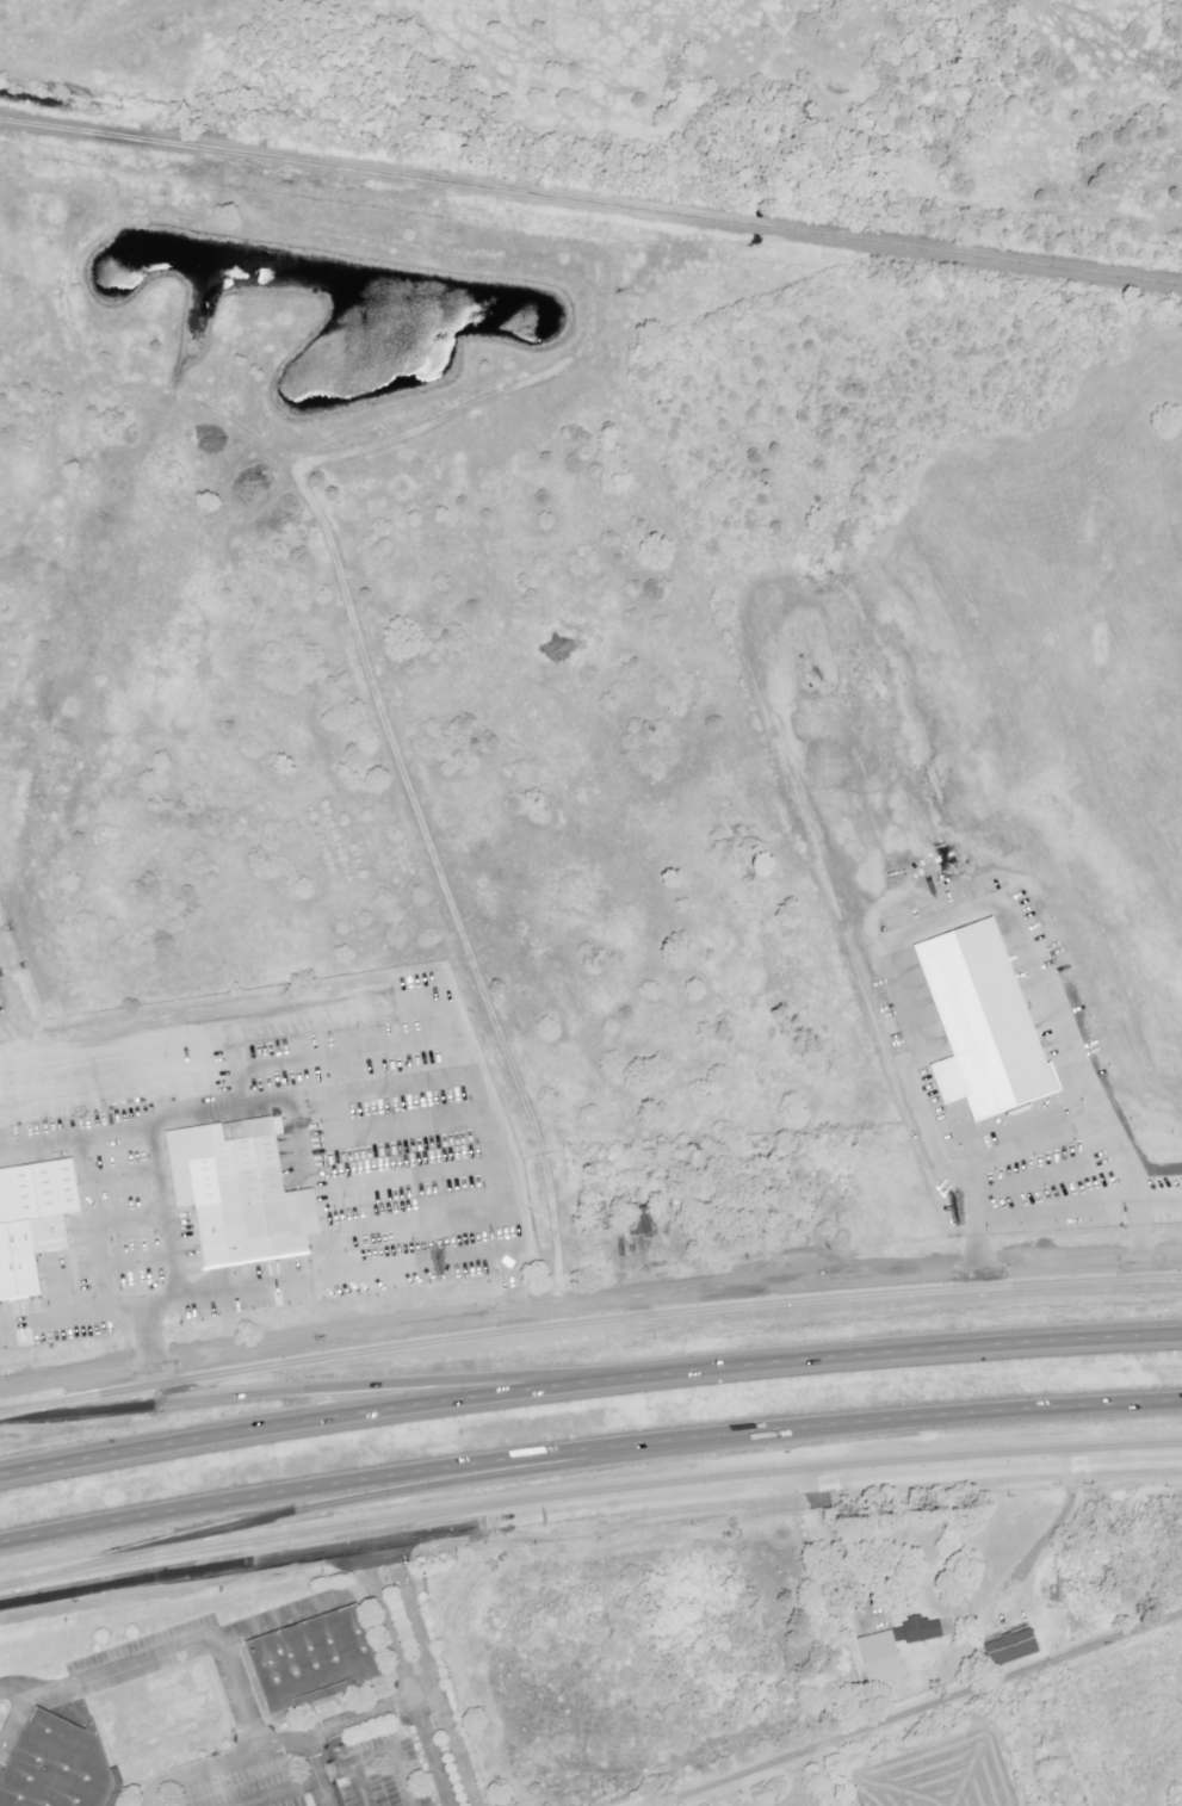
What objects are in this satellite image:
railway: (590, 200)
road: (1005, 927)
building: (979, 1027)
road: (1027, 1145)
road: (1163, 1195)
building: (258, 1200)
road: (153, 1216)
building: (643, 1220)
building: (35, 1221)
road: (371, 1266)
road: (588, 1306)
road: (51, 1316)
road: (959, 1347)
road: (367, 1408)
road: (1020, 1408)
road: (427, 1467)
road: (588, 1504)
road: (1045, 1542)
road: (834, 1548)
road: (279, 1615)
parking lot: (147, 1645)
building: (896, 1647)
building: (1014, 1647)
road: (153, 1655)
building: (308, 1656)
road: (431, 1670)
road: (402, 1671)
road: (13, 1687)
road: (920, 1709)
building: (150, 1712)
road: (369, 1713)
building: (51, 1764)
road: (219, 1764)
road: (332, 1769)
road: (314, 1770)
parking lot: (326, 1774)
road: (823, 1777)
road: (361, 1783)

